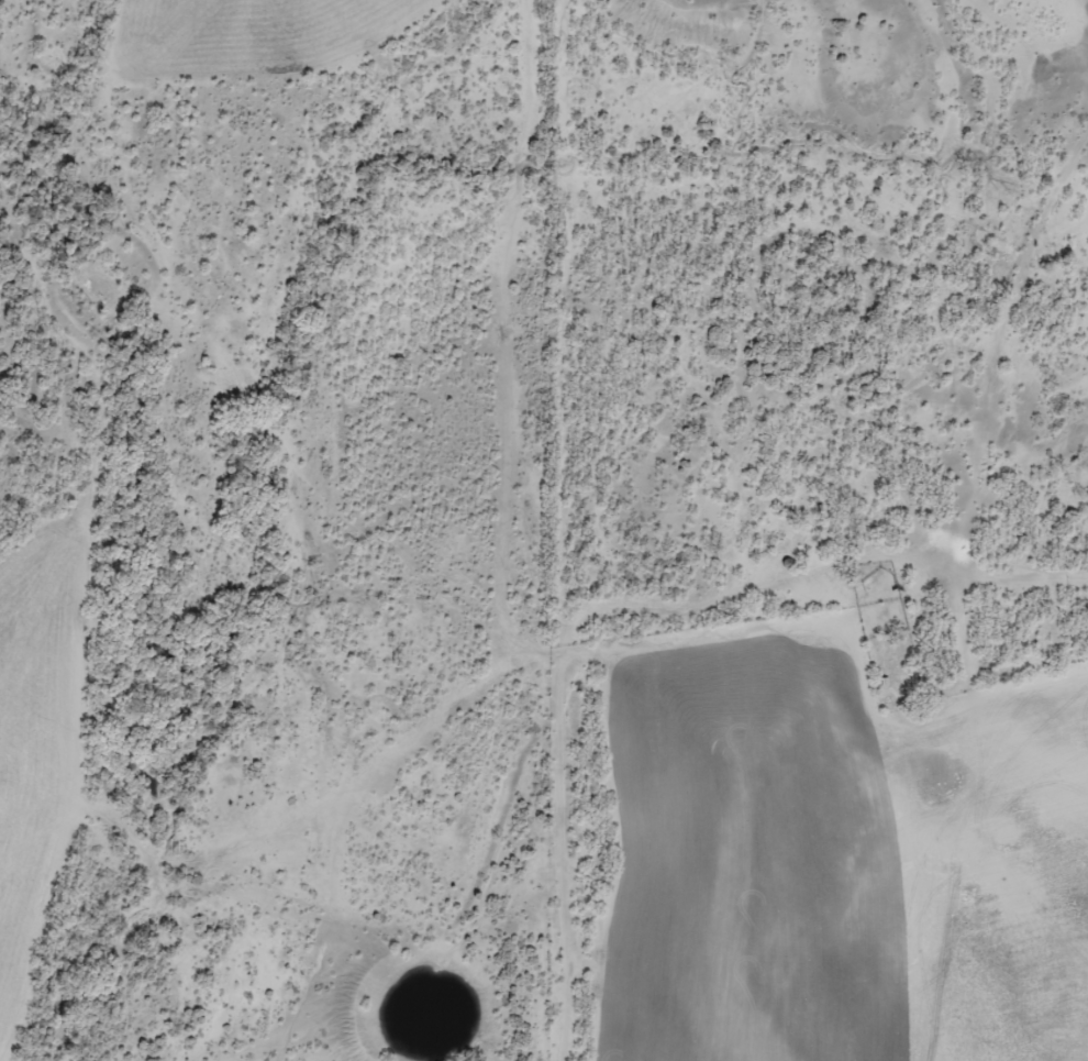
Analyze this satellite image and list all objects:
road: (618, 625)

